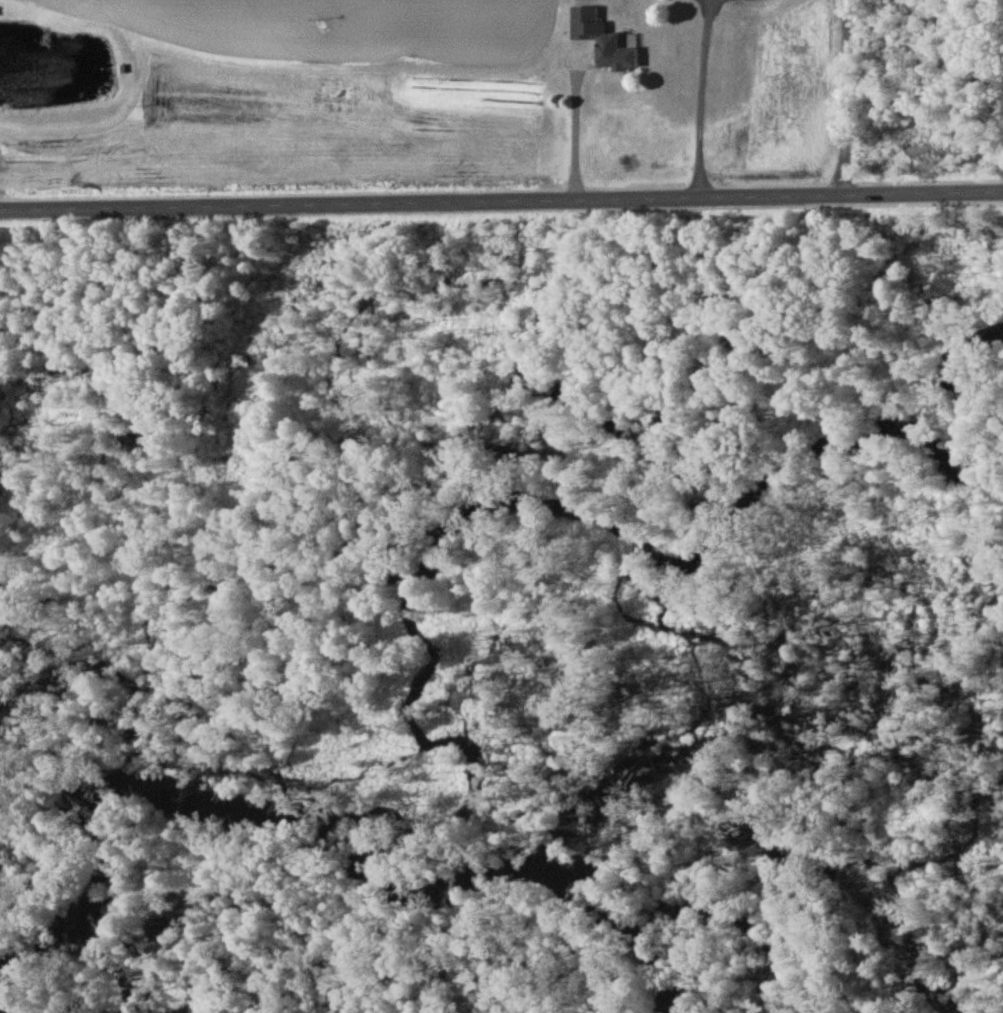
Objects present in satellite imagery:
building: (614, 56)
road: (705, 94)
road: (575, 124)
road: (501, 191)

